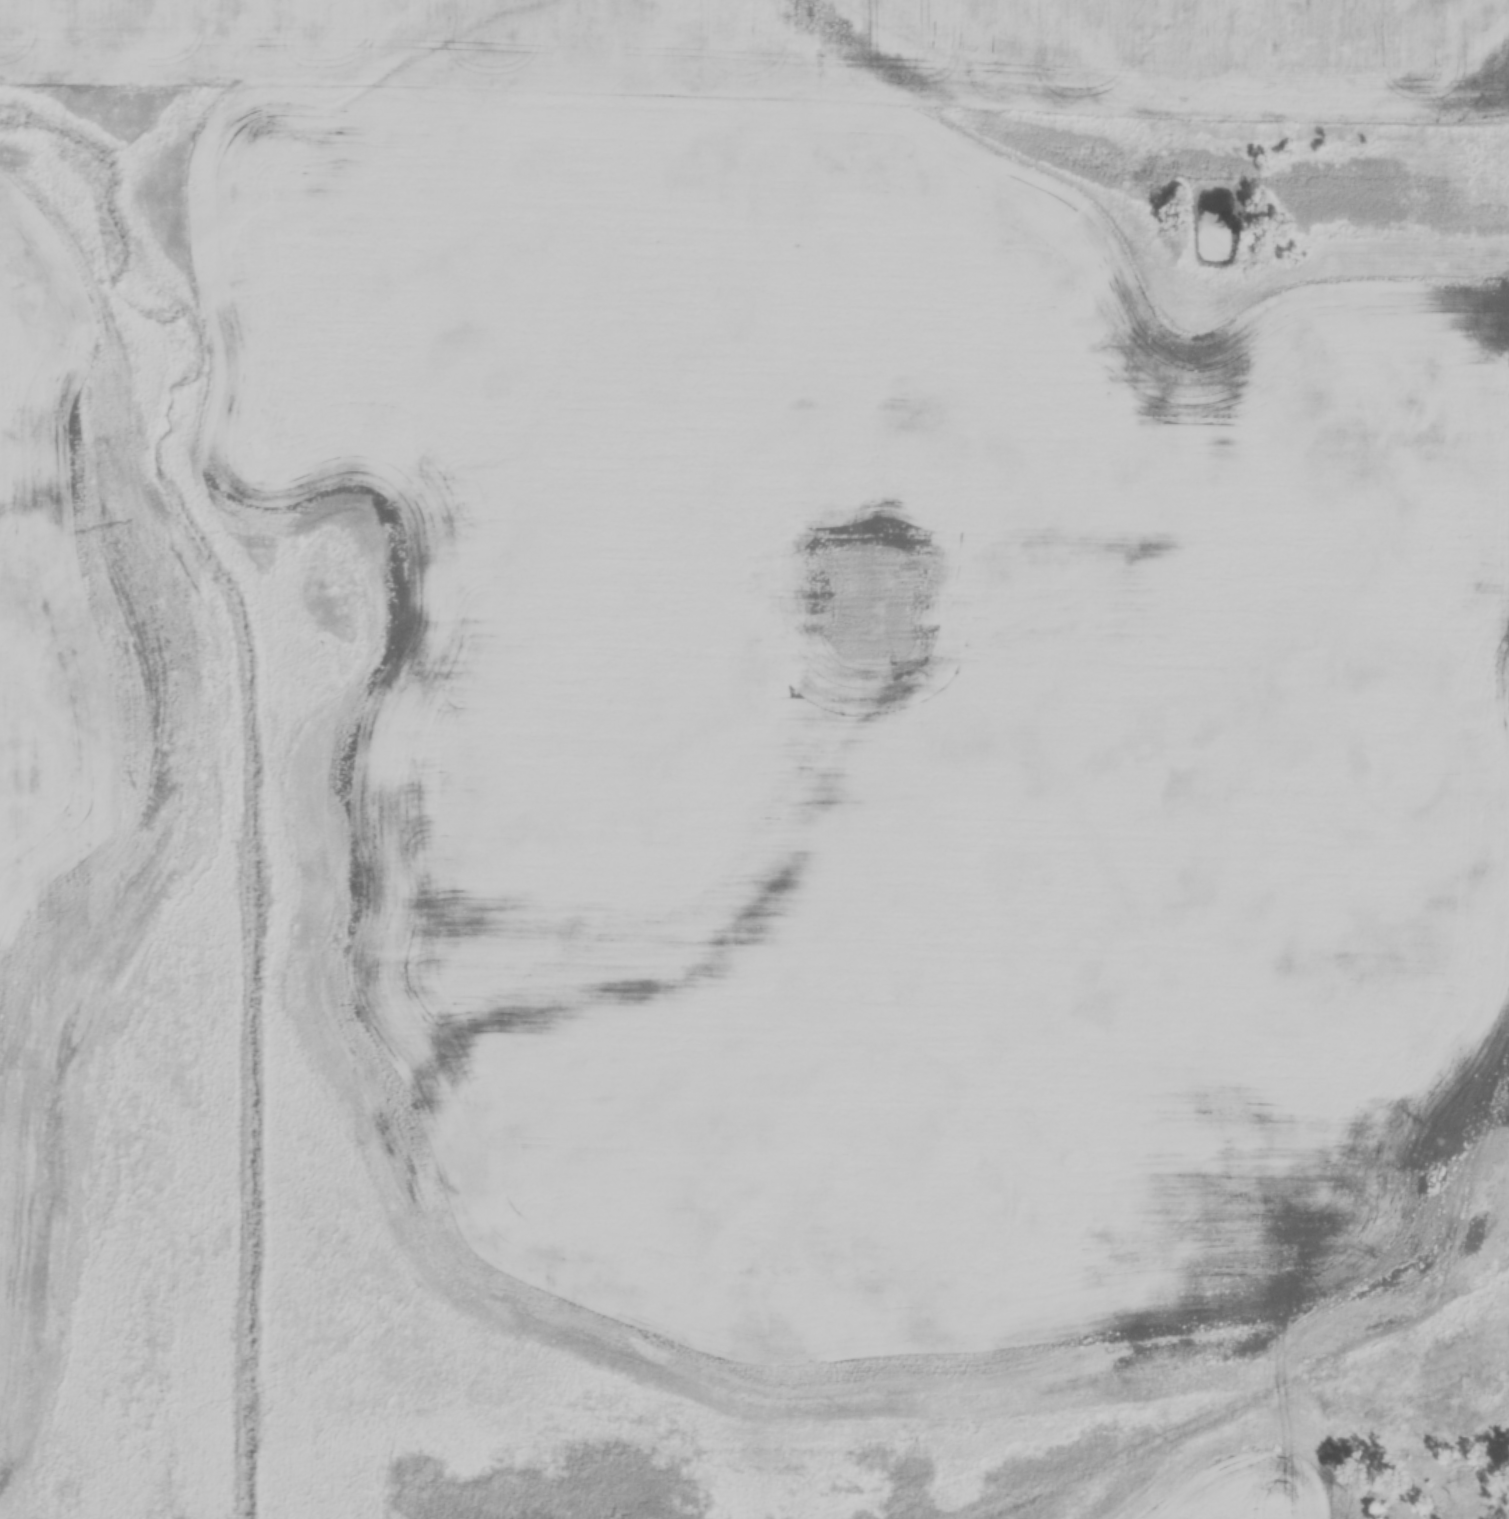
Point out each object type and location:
crop: (1215, 1474)

